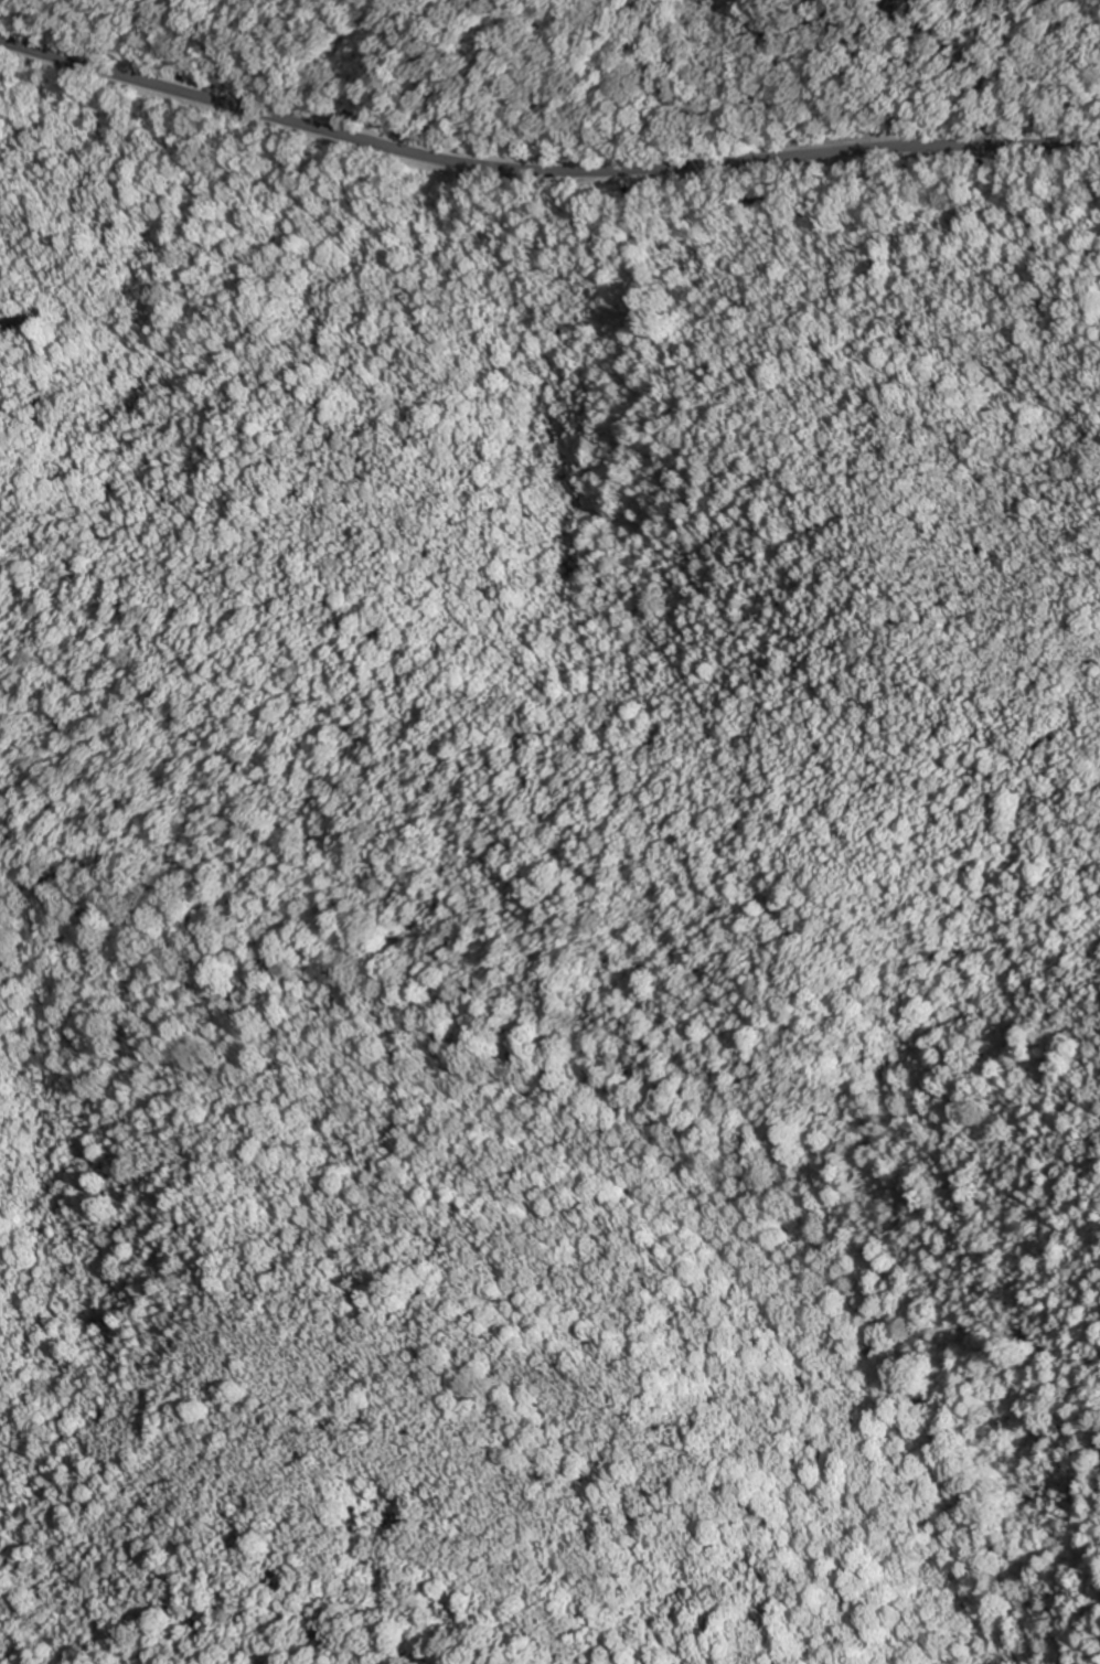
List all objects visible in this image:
road: (542, 169)

